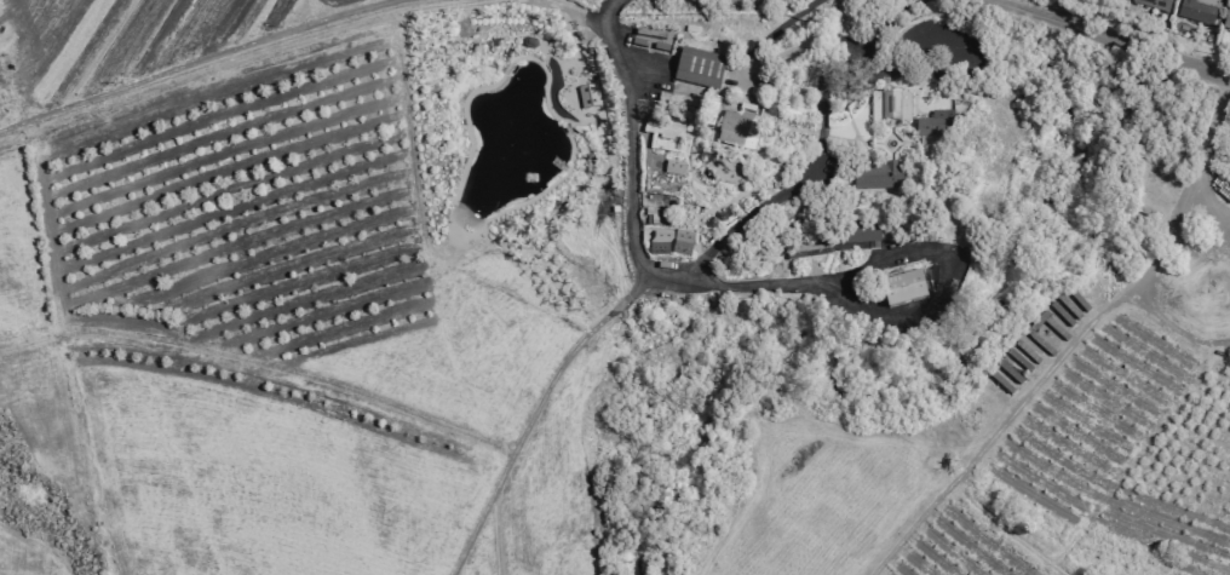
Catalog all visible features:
park: (1011, 2)
building: (1153, 5)
road: (608, 11)
building: (1199, 11)
building: (1226, 18)
road: (1111, 36)
building: (529, 44)
road: (295, 46)
road: (203, 62)
building: (696, 71)
building: (587, 97)
crop: (15, 105)
building: (891, 110)
building: (665, 128)
building: (736, 128)
building: (938, 131)
building: (674, 167)
building: (879, 179)
road: (746, 220)
building: (856, 235)
building: (671, 241)
building: (812, 249)
road: (758, 284)
building: (903, 287)
crop: (316, 291)
building: (1046, 334)
road: (367, 404)
crop: (999, 478)
road: (485, 513)
crop: (27, 556)

